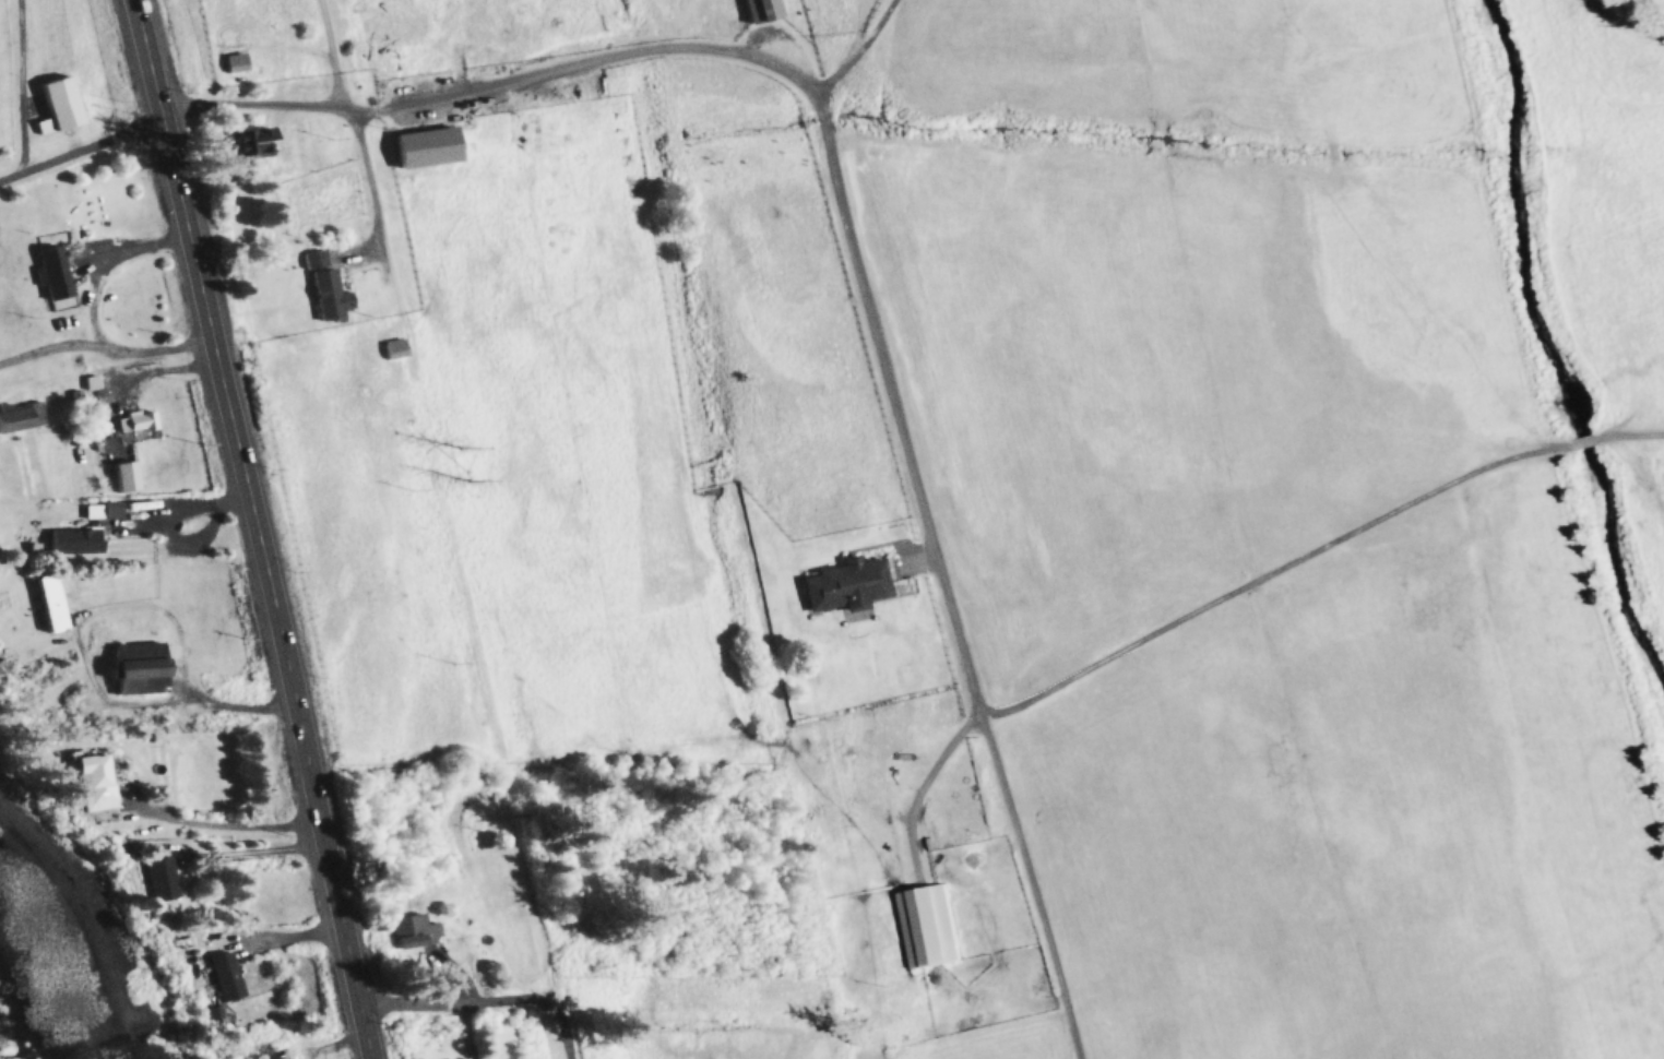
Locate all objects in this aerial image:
building: (765, 10)
road: (868, 51)
railway: (346, 56)
building: (237, 63)
building: (63, 105)
building: (268, 143)
building: (430, 147)
road: (844, 163)
road: (378, 194)
building: (318, 260)
building: (57, 278)
building: (332, 296)
road: (106, 347)
river: (1550, 347)
building: (400, 348)
building: (23, 418)
building: (141, 423)
building: (104, 512)
road: (255, 528)
building: (78, 543)
road: (1319, 555)
building: (852, 586)
building: (52, 604)
road: (477, 639)
building: (138, 676)
building: (94, 781)
building: (162, 880)
building: (931, 927)
building: (418, 930)
building: (227, 978)
road: (456, 1004)
road: (568, 1028)

